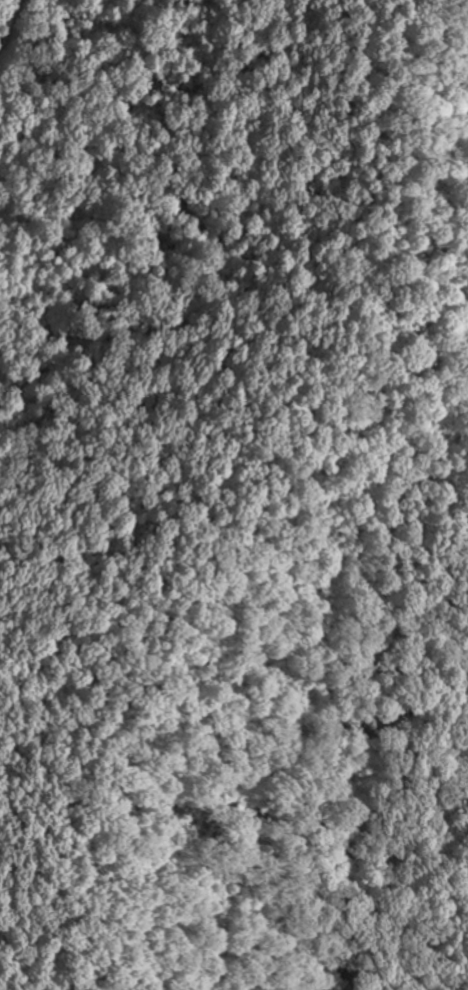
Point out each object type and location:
road: (8, 21)

